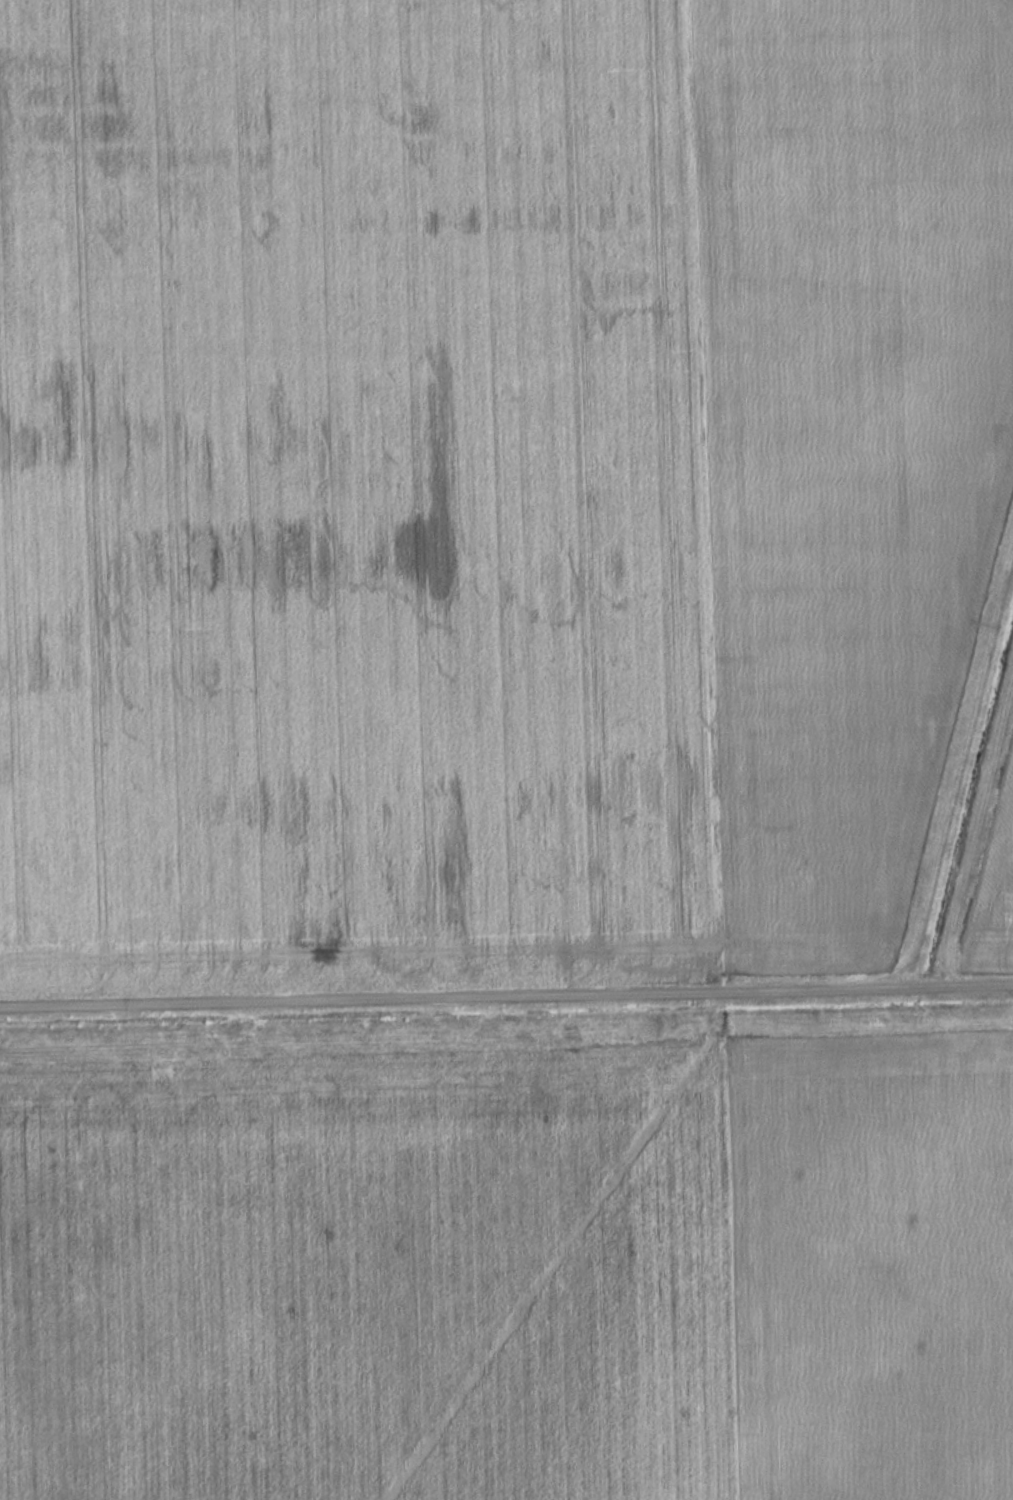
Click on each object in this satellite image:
crop: (489, 470)
crop: (986, 867)
road: (506, 992)
crop: (886, 1263)
crop: (381, 1269)

